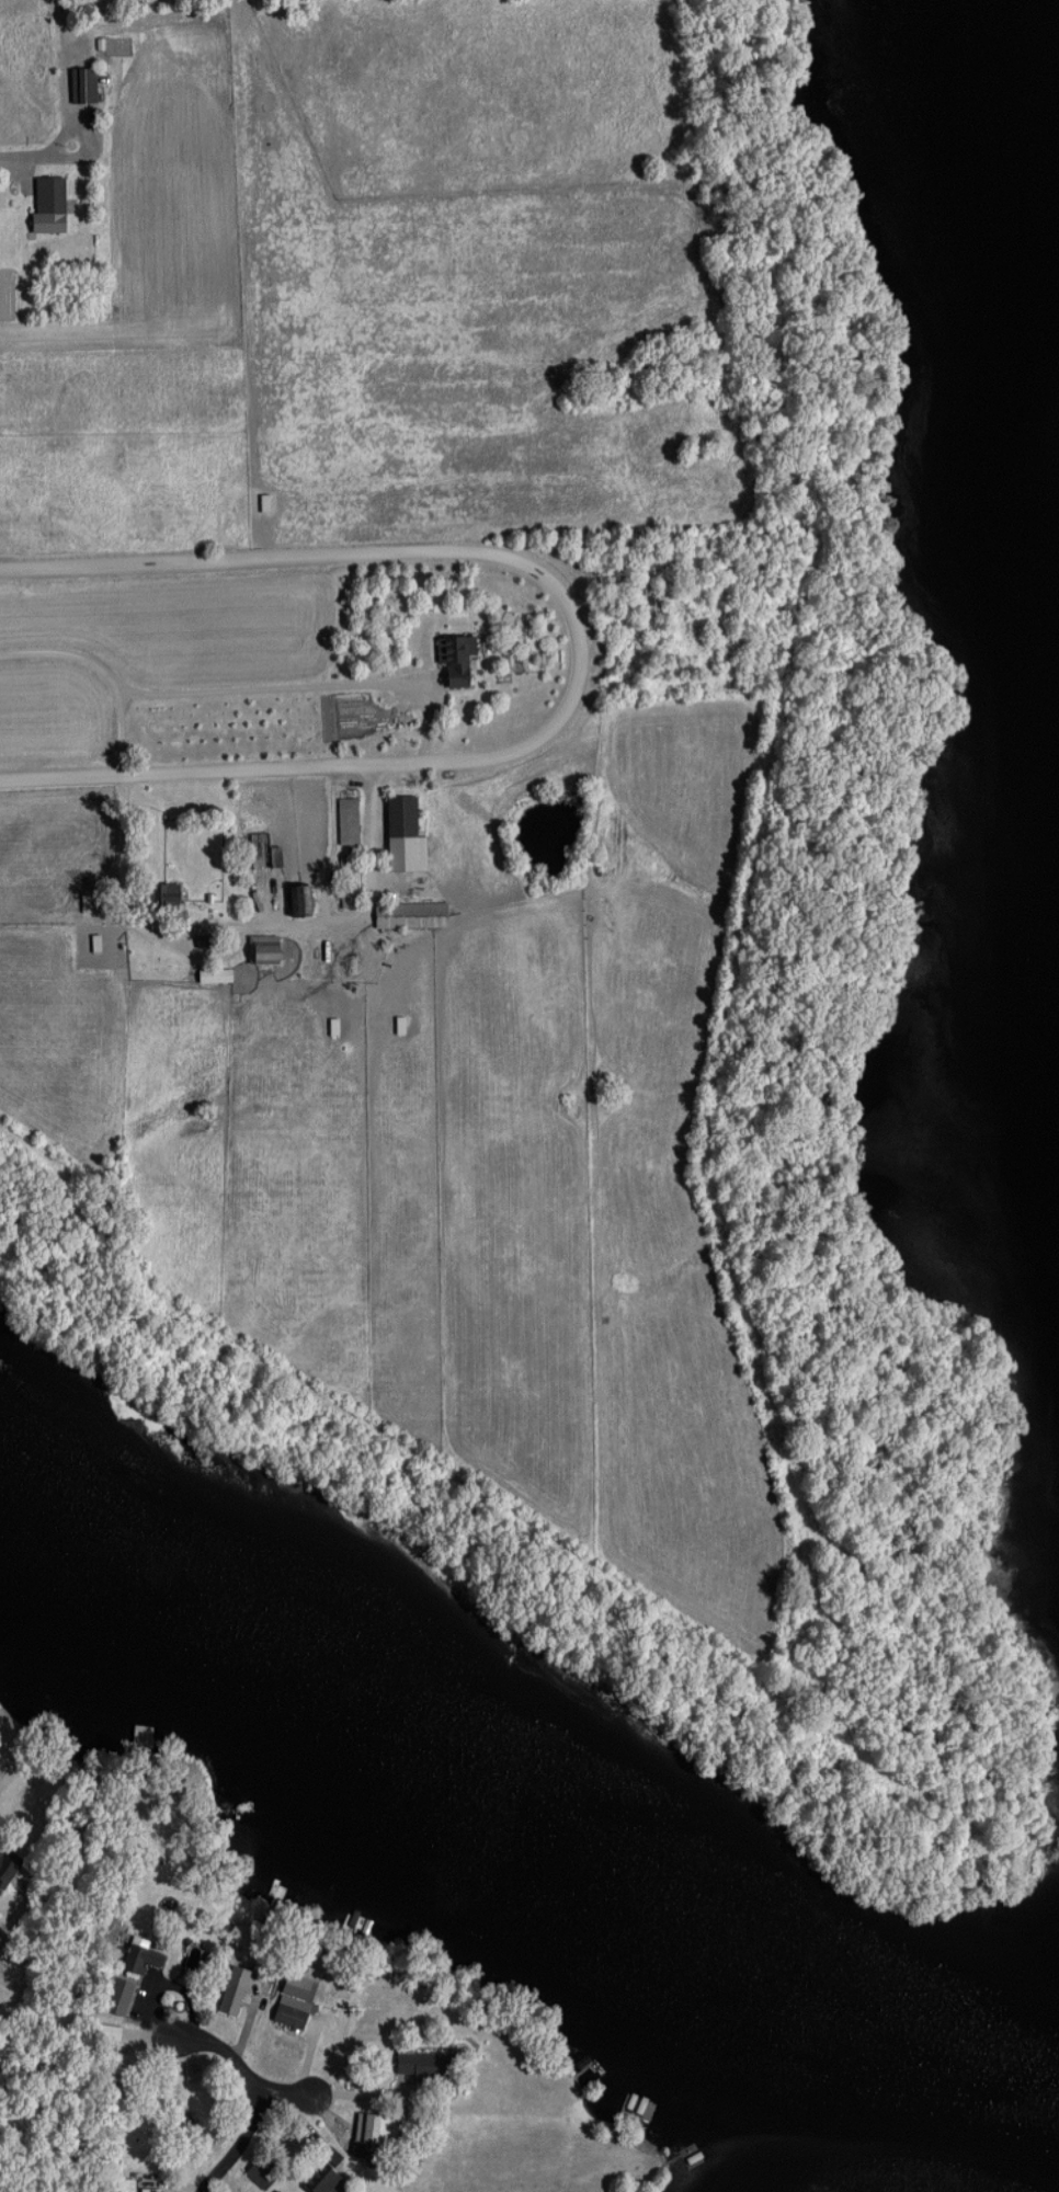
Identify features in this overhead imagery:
building: (80, 83)
road: (10, 183)
building: (47, 194)
building: (453, 657)
road: (582, 657)
road: (214, 693)
building: (398, 817)
building: (346, 823)
building: (260, 852)
building: (348, 881)
building: (162, 895)
building: (297, 900)
building: (408, 914)
road: (210, 929)
building: (260, 948)
building: (212, 975)
building: (5, 1869)
building: (138, 1957)
building: (229, 1993)
building: (115, 2000)
building: (288, 2012)
building: (421, 2065)
road: (286, 2092)
road: (258, 2096)
building: (366, 2134)
building: (318, 2180)
building: (274, 2191)

